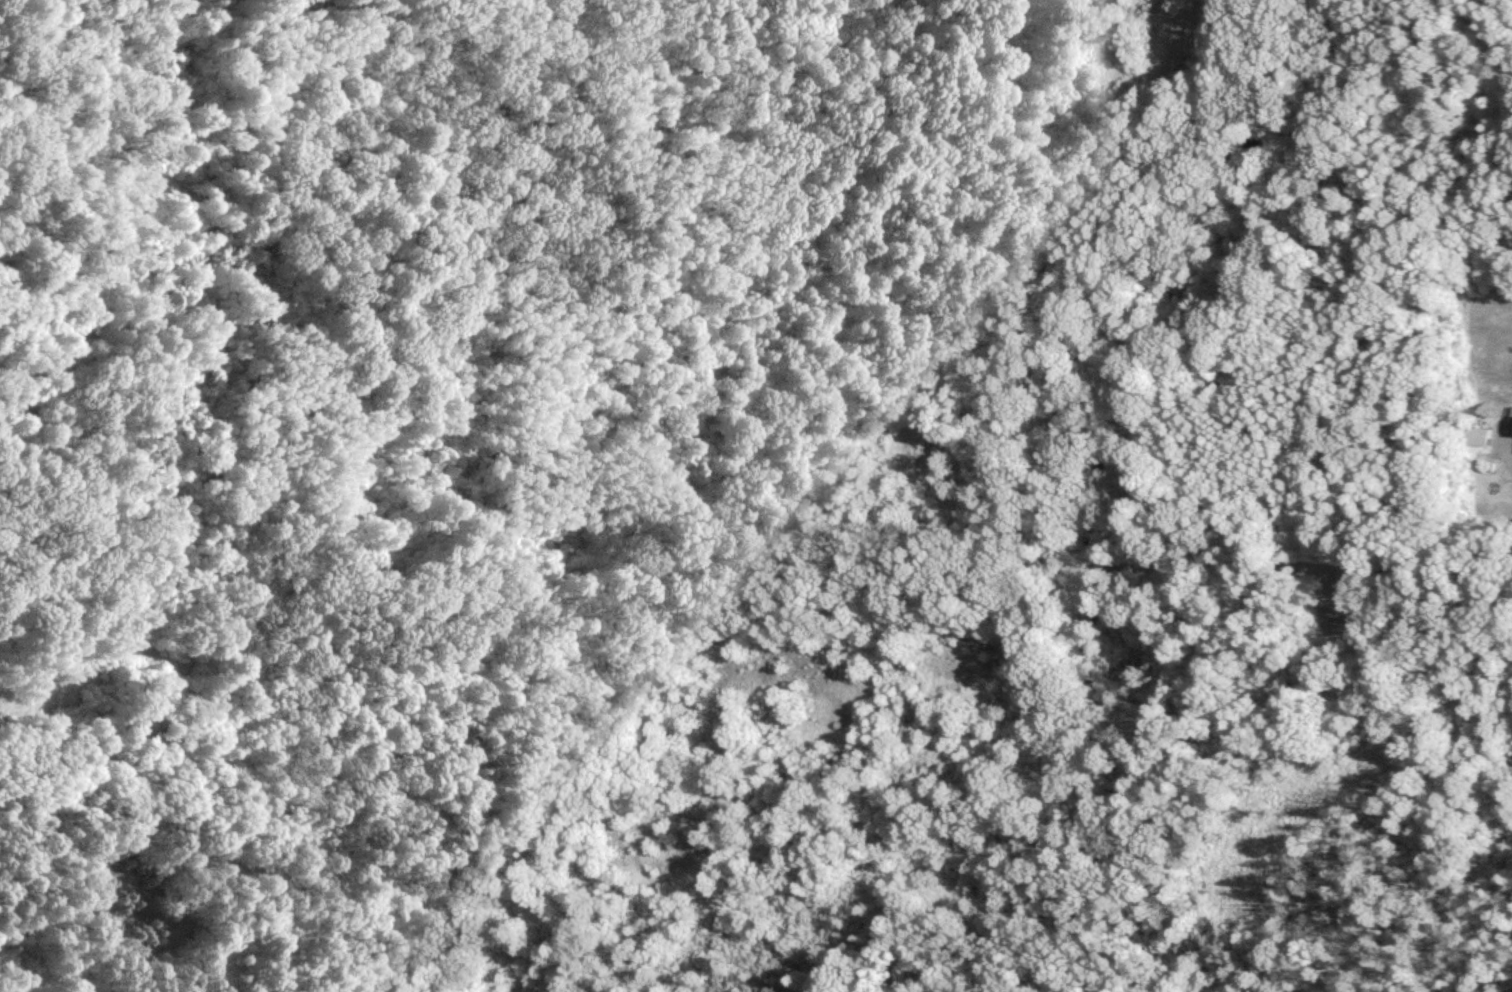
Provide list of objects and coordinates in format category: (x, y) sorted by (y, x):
building: (1476, 437)
road: (1507, 446)
road: (755, 568)

